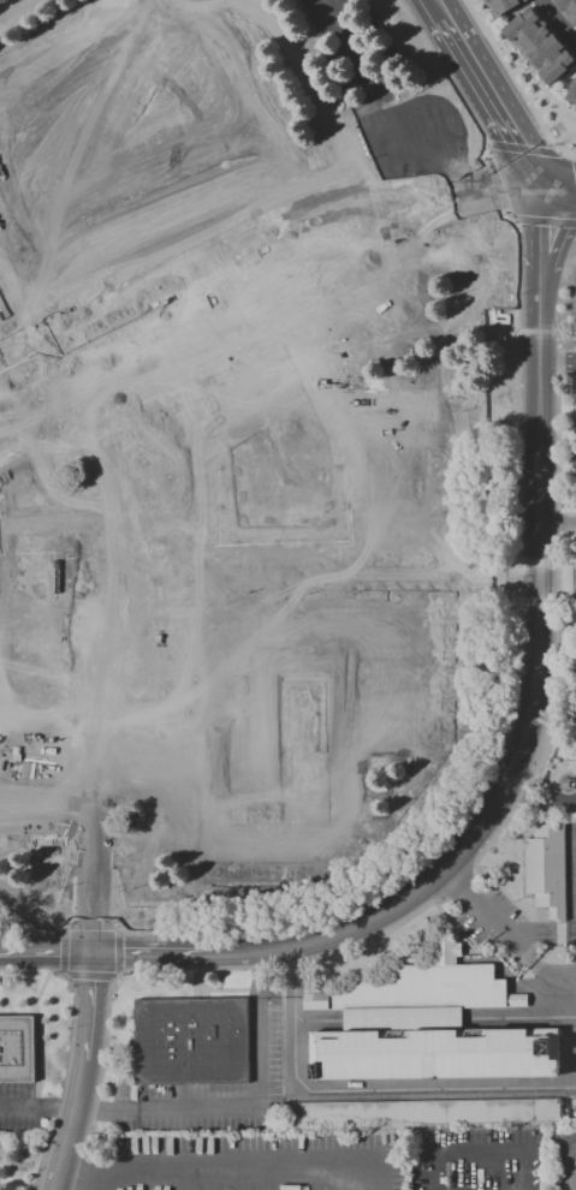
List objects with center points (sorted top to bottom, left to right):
building: (504, 6)
road: (421, 10)
building: (568, 11)
road: (455, 17)
road: (558, 22)
road: (441, 26)
building: (539, 44)
road: (522, 71)
building: (572, 93)
road: (499, 101)
road: (548, 101)
traffic signals: (535, 173)
road: (554, 174)
road: (513, 183)
road: (536, 185)
road: (515, 195)
traffic signals: (538, 197)
road: (557, 198)
road: (538, 212)
road: (254, 238)
road: (554, 250)
road: (538, 258)
road: (35, 353)
road: (557, 363)
road: (37, 417)
building: (280, 430)
building: (6, 454)
road: (54, 459)
road: (557, 524)
road: (512, 582)
road: (536, 596)
building: (283, 736)
building: (22, 761)
building: (565, 785)
road: (541, 796)
building: (547, 870)
road: (93, 932)
road: (510, 936)
road: (332, 940)
road: (46, 952)
traffic signals: (93, 952)
road: (148, 953)
road: (563, 974)
building: (315, 1000)
building: (432, 1024)
building: (194, 1041)
building: (17, 1048)
road: (82, 1072)
road: (384, 1090)
road: (243, 1105)
road: (37, 1109)
road: (465, 1154)
parking lot: (562, 1158)
road: (253, 1166)
road: (572, 1167)

